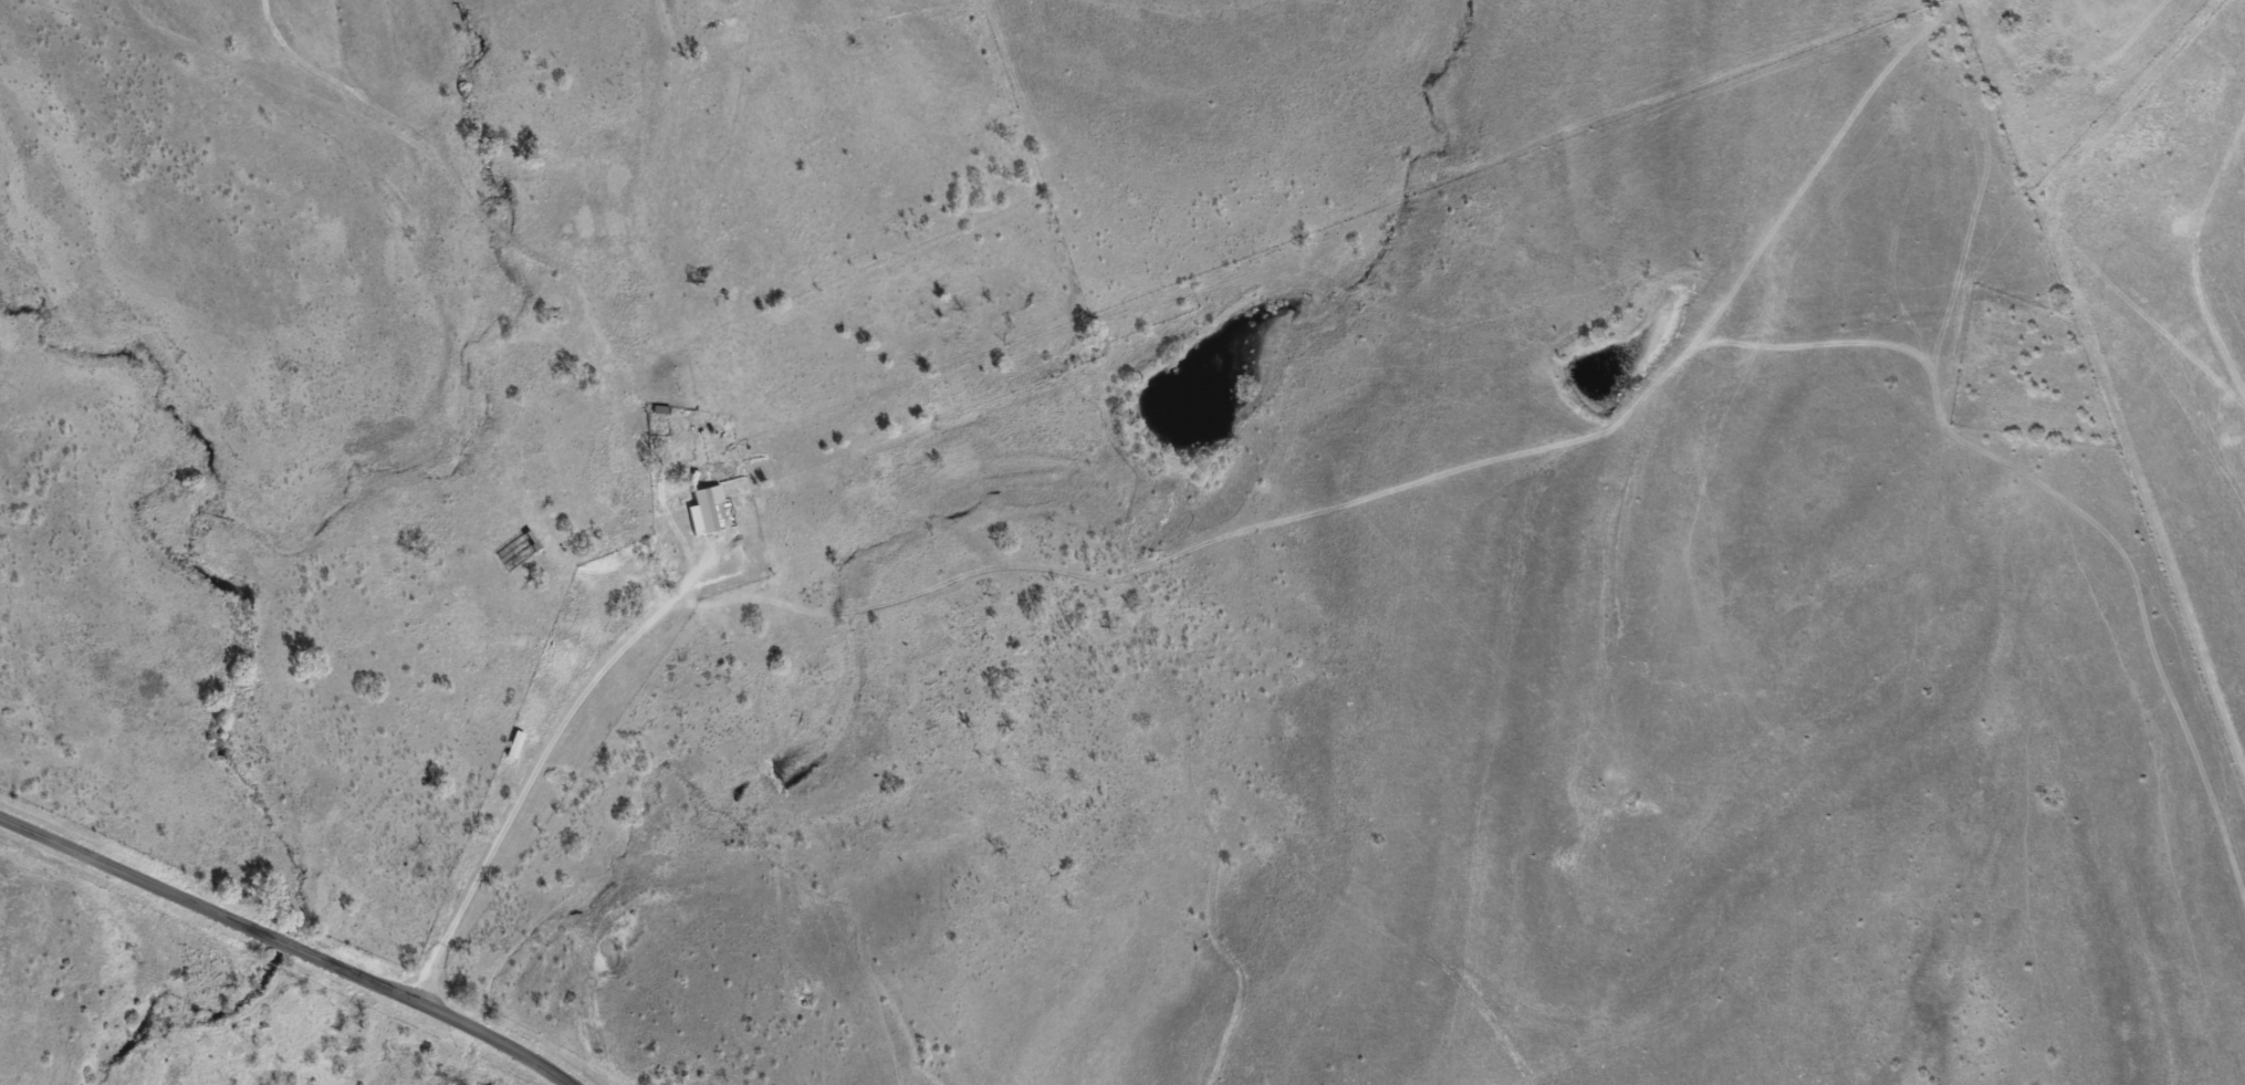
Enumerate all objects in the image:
road: (1192, 492)
building: (700, 498)
building: (511, 745)
road: (284, 947)

